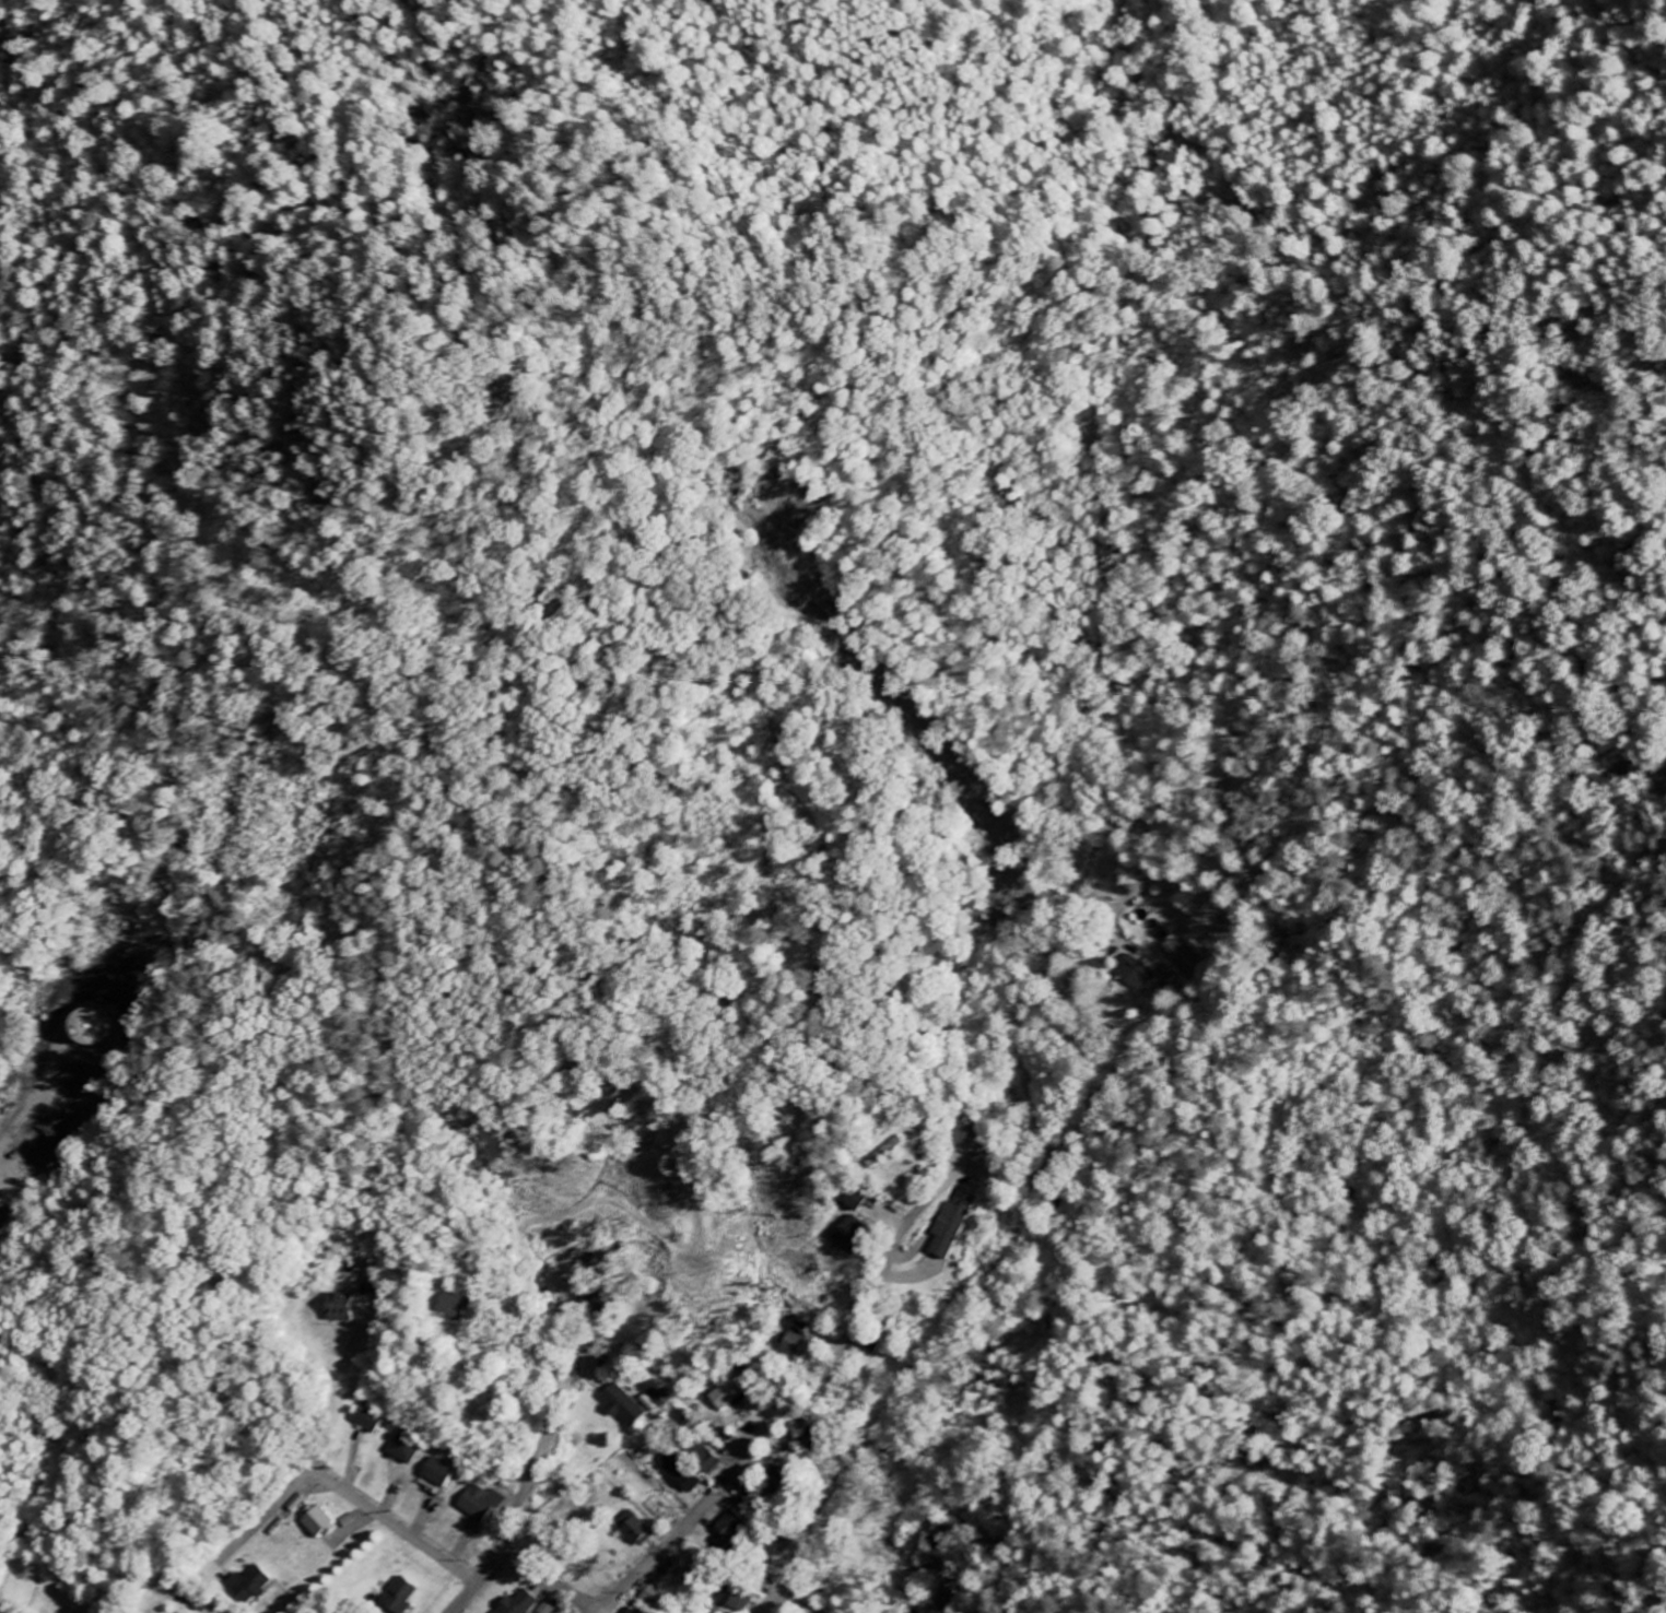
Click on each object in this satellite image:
road: (1128, 926)
building: (1138, 975)
building: (973, 1138)
building: (857, 1200)
building: (954, 1225)
building: (852, 1235)
building: (455, 1306)
building: (340, 1308)
building: (881, 1342)
building: (800, 1345)
road: (336, 1388)
building: (731, 1396)
building: (654, 1402)
building: (623, 1406)
road: (807, 1418)
building: (372, 1420)
road: (149, 1447)
building: (409, 1449)
road: (536, 1458)
building: (706, 1458)
building: (441, 1473)
building: (682, 1473)
building: (482, 1503)
building: (298, 1504)
building: (320, 1521)
building: (734, 1526)
road: (398, 1528)
building: (635, 1530)
building: (947, 1533)
road: (791, 1563)
road: (488, 1568)
road: (540, 1582)
building: (251, 1585)
building: (400, 1597)
building: (654, 1598)
building: (738, 1598)
road: (466, 1599)
road: (796, 1602)
building: (519, 1603)
building: (938, 1605)
building: (630, 1611)

